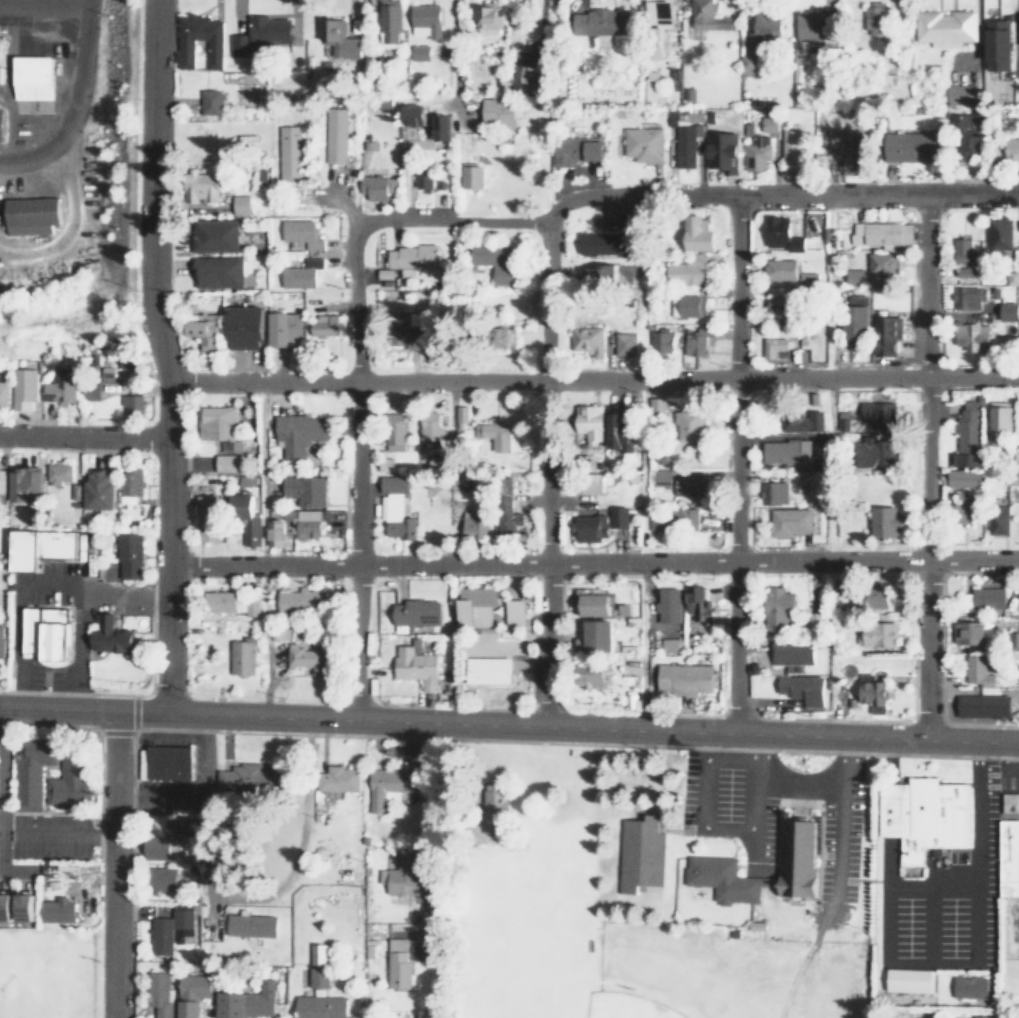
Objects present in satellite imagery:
road: (92, 2)
road: (45, 5)
building: (484, 17)
building: (707, 18)
building: (872, 18)
building: (661, 20)
building: (422, 21)
building: (600, 21)
building: (386, 23)
building: (764, 23)
building: (810, 24)
building: (943, 27)
building: (258, 35)
building: (997, 38)
building: (334, 40)
building: (0, 49)
building: (417, 52)
building: (181, 55)
building: (527, 76)
building: (32, 77)
building: (959, 94)
building: (209, 101)
road: (553, 103)
road: (76, 107)
building: (495, 111)
building: (407, 113)
building: (0, 120)
building: (769, 123)
building: (439, 126)
building: (332, 132)
building: (681, 141)
building: (840, 141)
building: (789, 143)
building: (964, 143)
building: (639, 144)
building: (906, 146)
building: (574, 149)
building: (1009, 149)
building: (722, 150)
building: (287, 154)
building: (755, 154)
building: (470, 175)
building: (418, 178)
building: (197, 187)
building: (371, 187)
road: (151, 191)
road: (659, 196)
building: (237, 205)
building: (29, 216)
road: (64, 225)
building: (295, 231)
building: (695, 232)
building: (778, 234)
building: (874, 234)
building: (997, 235)
building: (210, 238)
building: (609, 241)
building: (963, 251)
building: (404, 261)
building: (489, 262)
building: (880, 265)
building: (777, 269)
building: (683, 271)
building: (214, 273)
building: (963, 274)
building: (298, 275)
building: (854, 276)
building: (808, 277)
building: (596, 278)
building: (968, 299)
building: (884, 303)
building: (686, 306)
building: (779, 309)
building: (1006, 312)
building: (853, 324)
building: (322, 325)
building: (240, 327)
building: (281, 328)
building: (199, 329)
building: (399, 332)
building: (883, 336)
building: (970, 336)
building: (500, 337)
building: (586, 340)
building: (660, 340)
building: (694, 341)
building: (623, 344)
building: (771, 346)
road: (592, 380)
building: (23, 388)
building: (59, 388)
building: (3, 393)
building: (132, 405)
building: (655, 407)
building: (878, 415)
building: (461, 416)
building: (801, 419)
building: (998, 419)
building: (843, 420)
building: (587, 421)
building: (216, 422)
building: (687, 425)
building: (429, 426)
building: (618, 431)
building: (393, 432)
building: (295, 433)
building: (493, 435)
building: (964, 436)
road: (84, 438)
building: (784, 451)
building: (874, 451)
building: (224, 461)
building: (386, 463)
road: (736, 464)
road: (926, 467)
road: (357, 470)
building: (59, 473)
road: (545, 473)
building: (662, 477)
building: (960, 477)
building: (800, 481)
building: (586, 483)
building: (26, 484)
building: (2, 485)
building: (129, 485)
building: (688, 486)
building: (302, 489)
building: (99, 491)
building: (771, 492)
building: (997, 494)
building: (392, 506)
building: (505, 509)
building: (958, 511)
building: (205, 518)
building: (672, 519)
building: (999, 519)
building: (241, 520)
building: (793, 521)
building: (884, 521)
building: (306, 524)
building: (597, 524)
building: (470, 526)
building: (274, 532)
building: (39, 546)
road: (168, 546)
building: (130, 556)
road: (593, 563)
building: (871, 598)
building: (981, 598)
building: (299, 600)
building: (585, 600)
building: (226, 601)
building: (666, 603)
building: (472, 605)
building: (595, 605)
building: (778, 609)
road: (943, 610)
building: (512, 611)
building: (413, 612)
building: (701, 617)
building: (813, 620)
building: (280, 630)
building: (967, 631)
building: (107, 633)
building: (875, 633)
building: (594, 634)
building: (1, 640)
building: (423, 644)
building: (667, 644)
building: (789, 651)
building: (240, 656)
building: (307, 658)
building: (413, 665)
building: (488, 669)
building: (975, 670)
building: (587, 673)
building: (682, 678)
road: (914, 685)
building: (800, 687)
building: (871, 692)
building: (981, 704)
road: (509, 707)
road: (509, 723)
road: (509, 739)
road: (760, 758)
building: (168, 762)
building: (29, 771)
building: (251, 778)
building: (68, 779)
building: (336, 780)
building: (391, 781)
road: (761, 783)
road: (702, 790)
building: (494, 802)
parking lot: (727, 802)
building: (1009, 802)
road: (0, 804)
road: (100, 804)
building: (921, 815)
road: (840, 816)
building: (179, 827)
road: (57, 832)
building: (154, 849)
building: (639, 854)
building: (796, 855)
building: (1008, 857)
road: (113, 864)
road: (448, 869)
road: (132, 874)
building: (400, 874)
building: (161, 879)
building: (727, 882)
road: (929, 886)
building: (5, 907)
building: (25, 907)
building: (56, 909)
road: (930, 924)
building: (250, 925)
building: (168, 927)
park: (622, 950)
road: (973, 951)
building: (396, 963)
building: (316, 965)
park: (45, 972)
building: (910, 979)
building: (971, 987)
building: (190, 994)
building: (157, 995)
building: (245, 1002)
park: (624, 1006)
building: (318, 1007)

